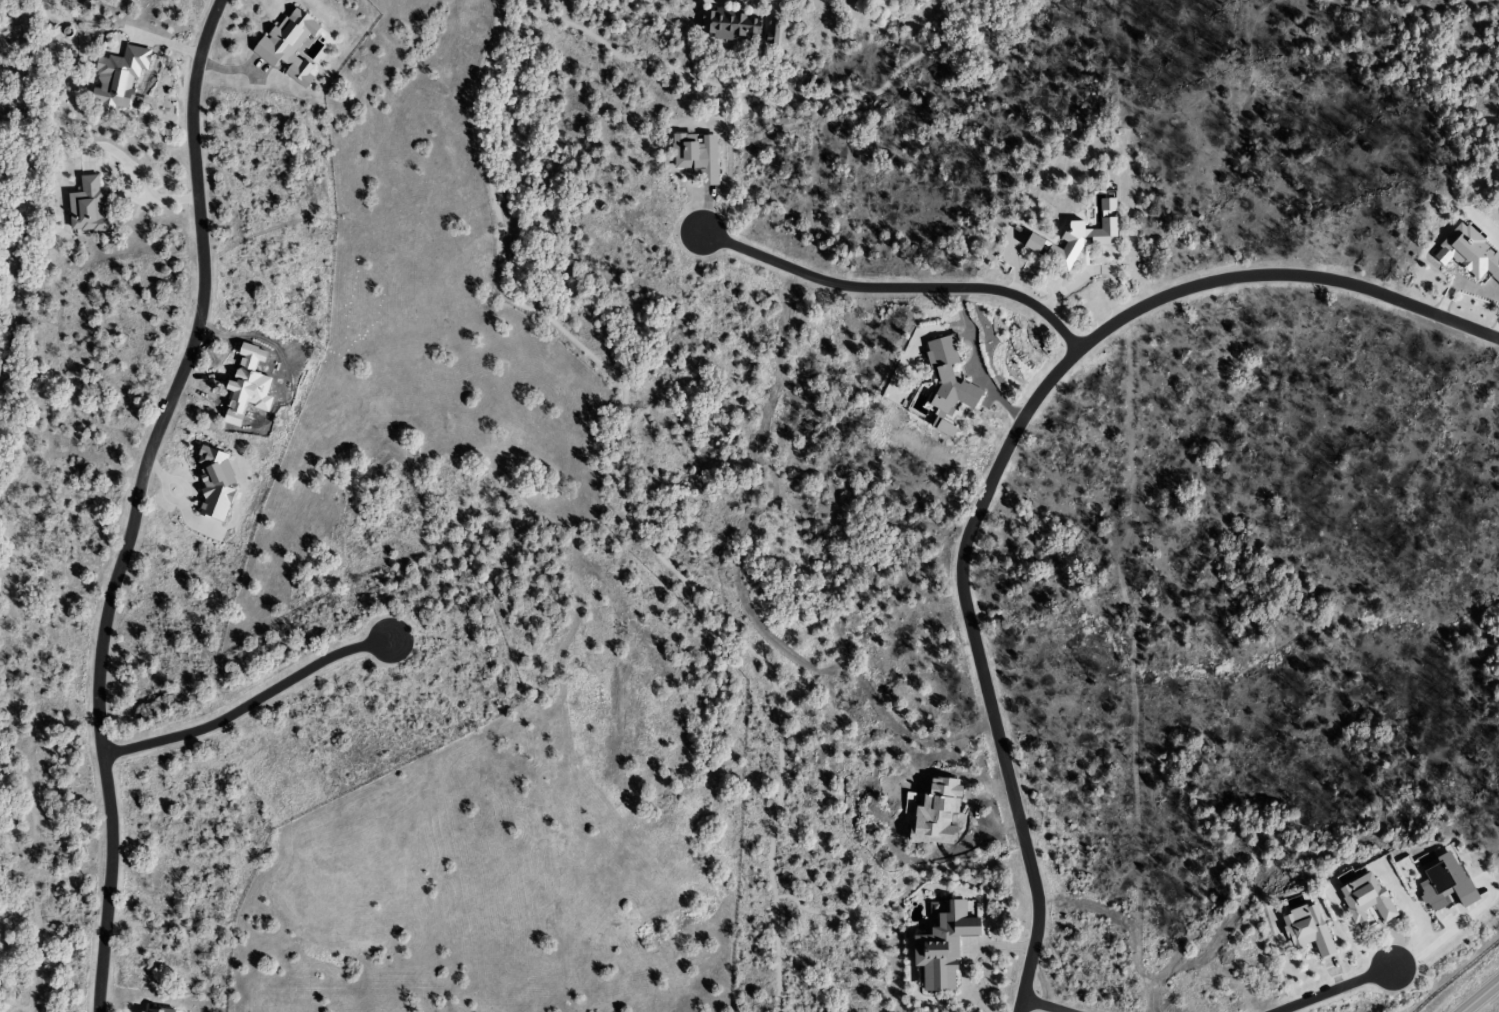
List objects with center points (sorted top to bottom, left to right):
building: (729, 25)
building: (115, 78)
building: (1073, 236)
road: (895, 288)
road: (1003, 452)
road: (135, 501)
road: (246, 704)
road: (1333, 989)
road: (1480, 995)
road: (1045, 1005)

